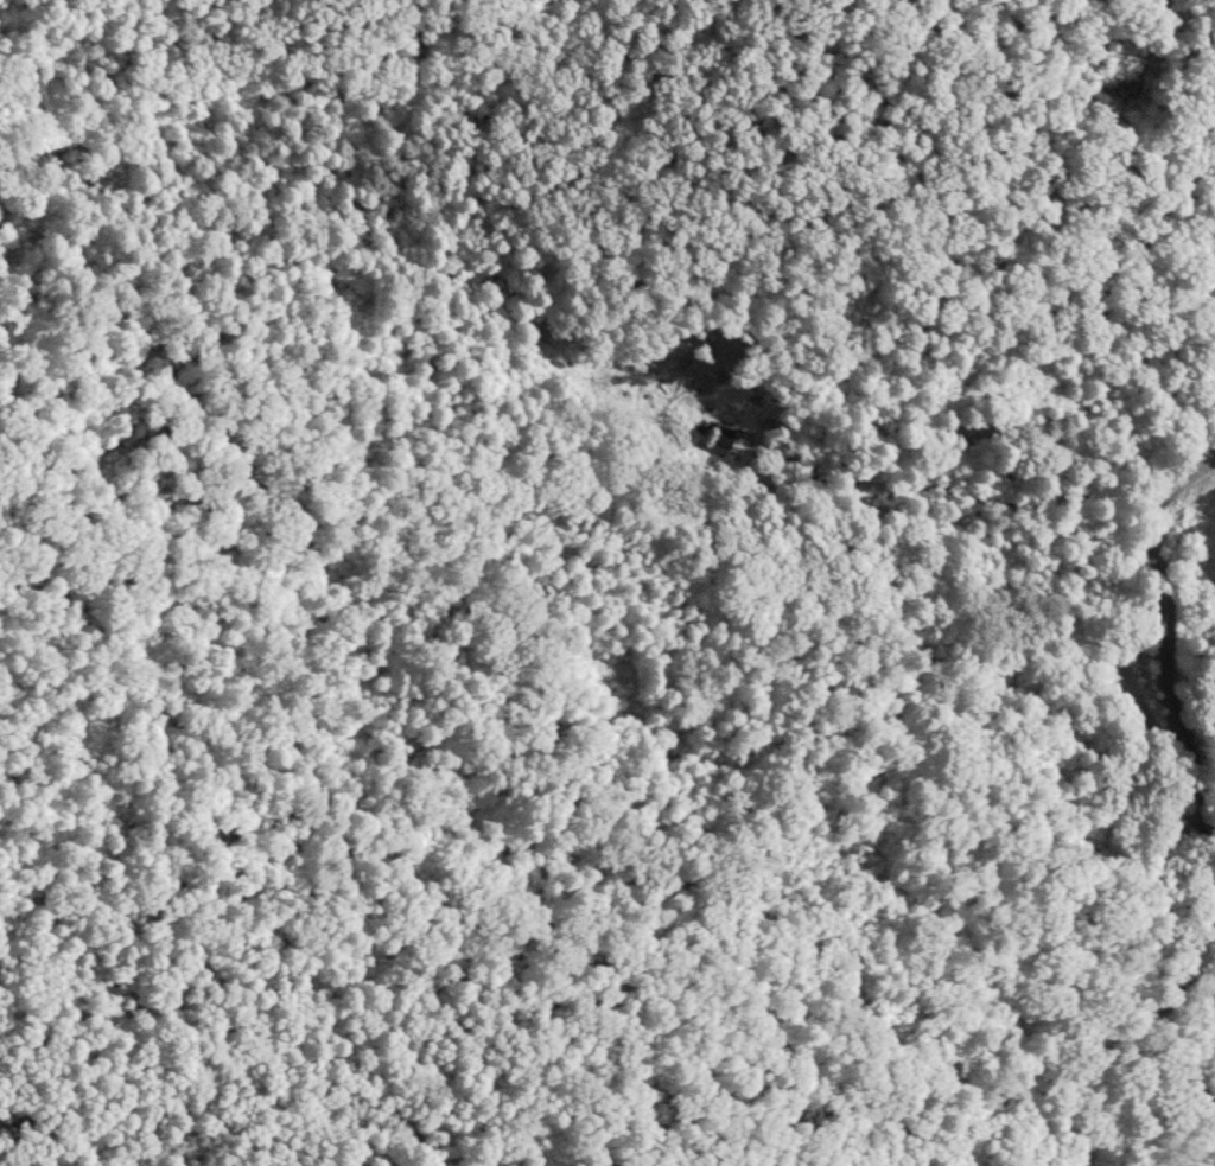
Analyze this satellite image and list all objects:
building: (719, 440)
road: (1177, 480)
road: (1165, 690)

